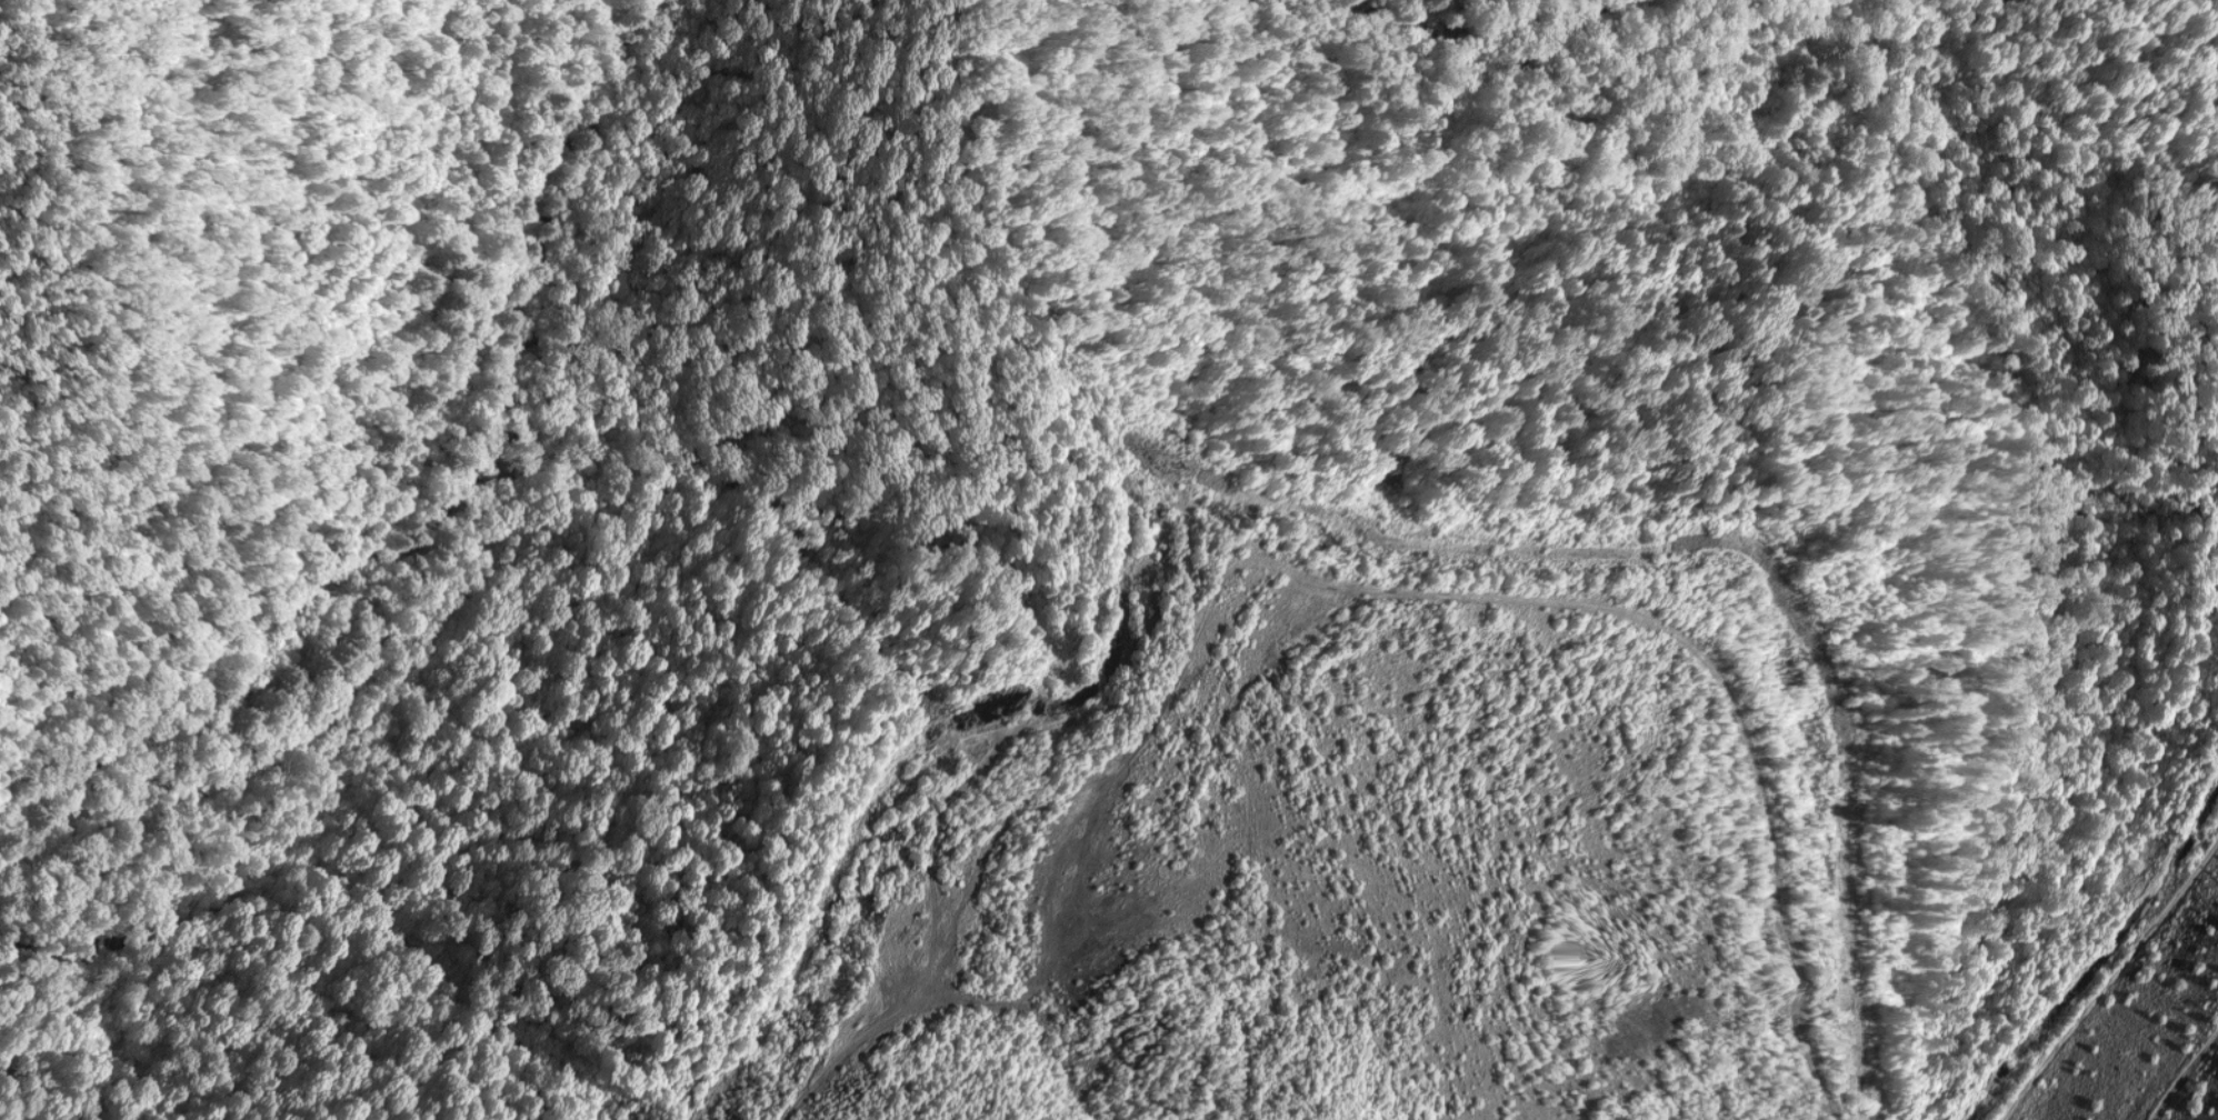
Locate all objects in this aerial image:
road: (399, 481)
quarry: (1109, 560)

